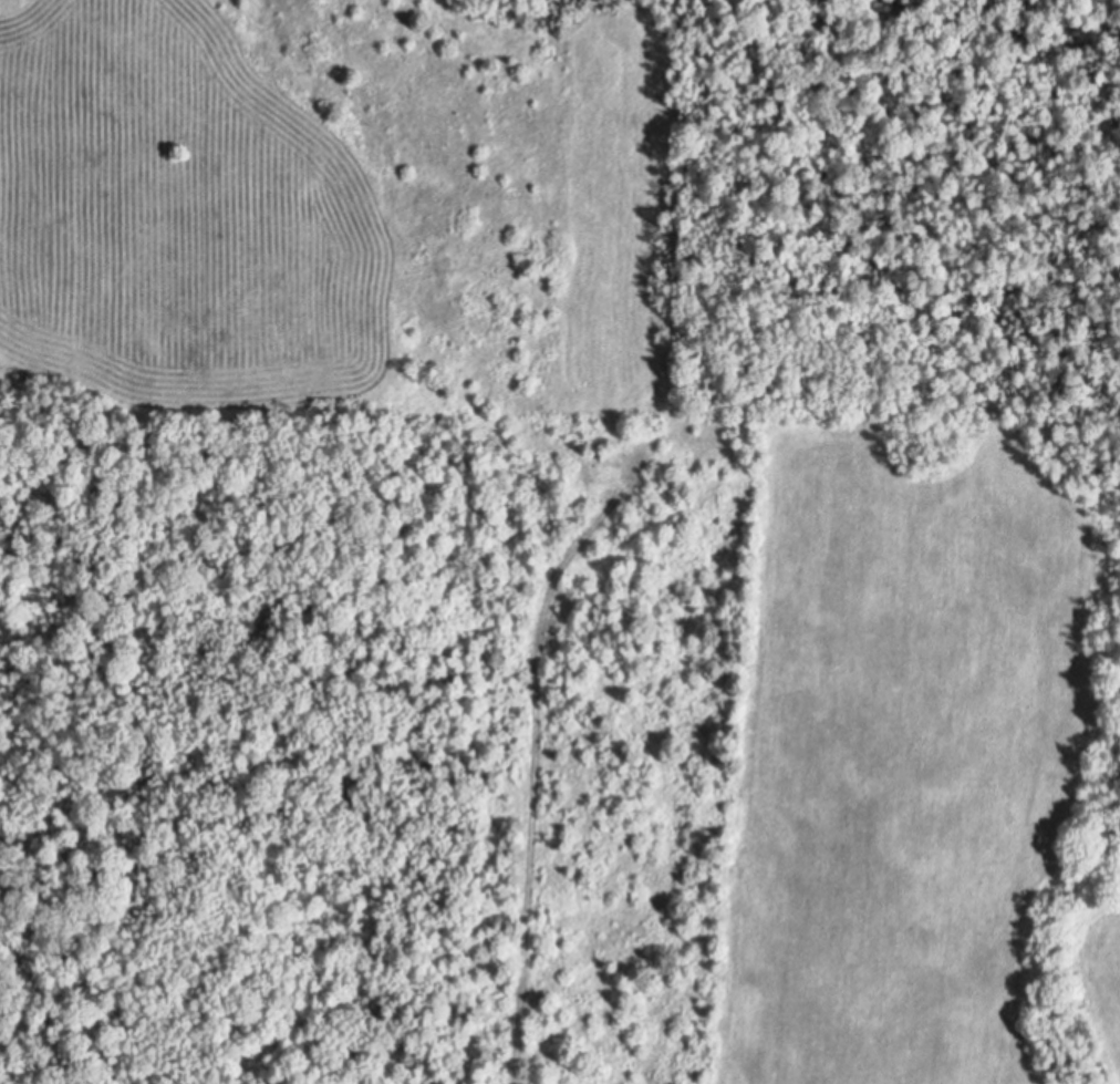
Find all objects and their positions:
building: (613, 451)

